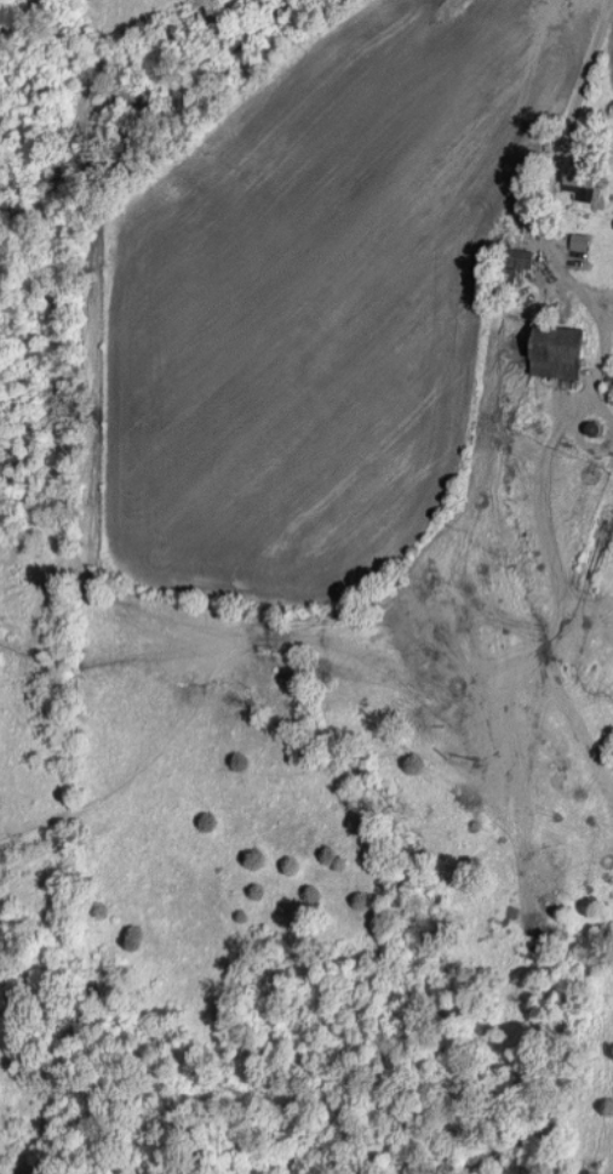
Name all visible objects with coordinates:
road: (577, 75)
building: (580, 182)
building: (555, 351)

